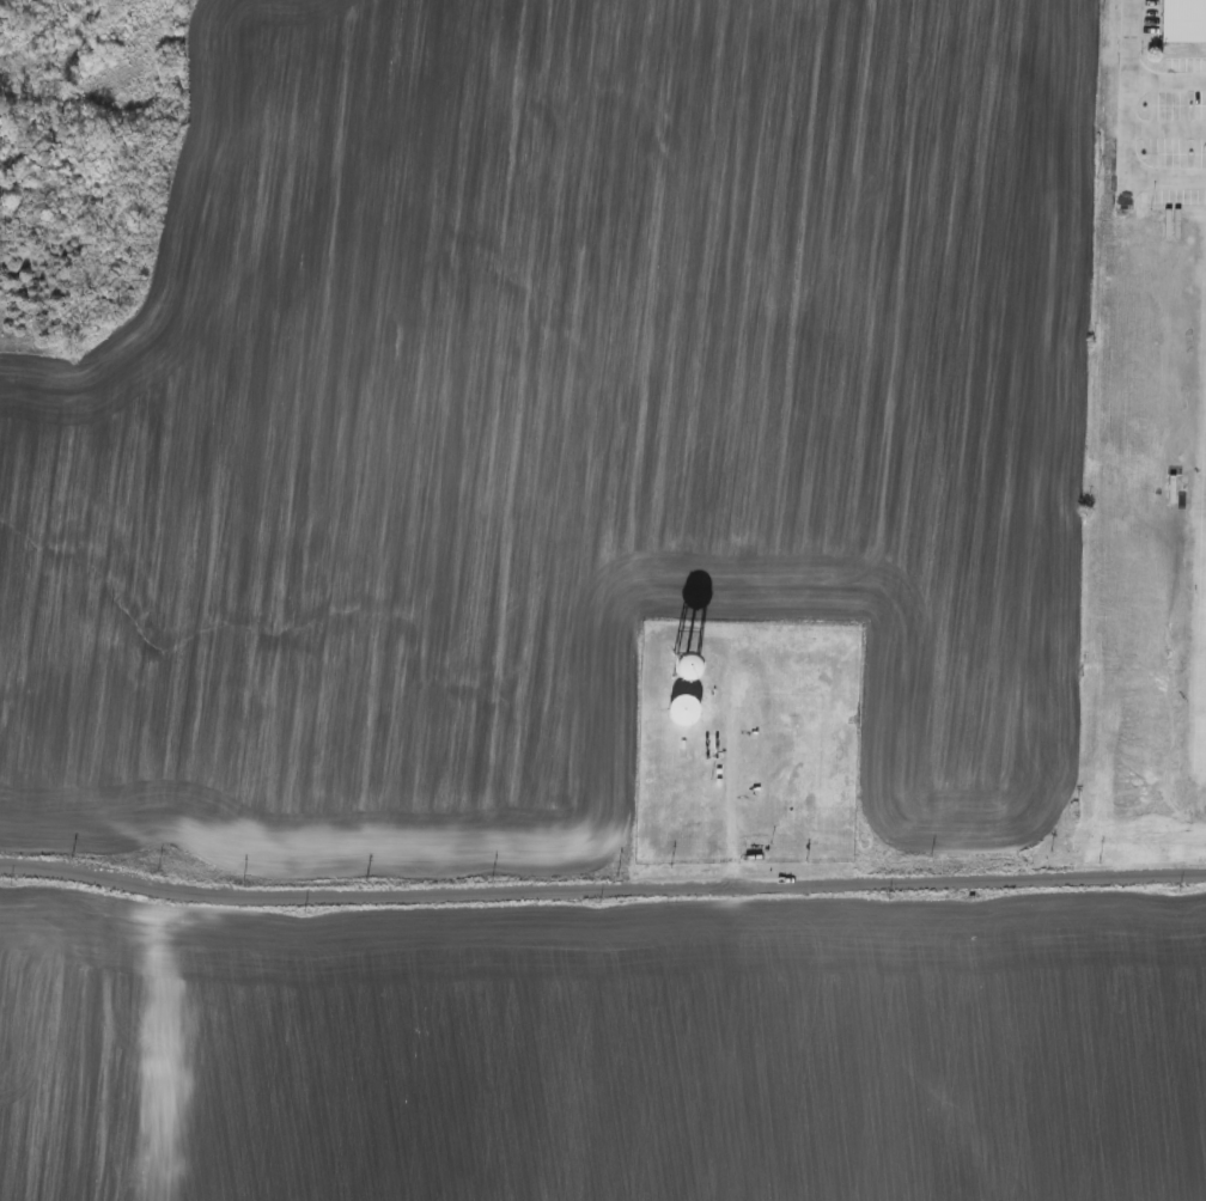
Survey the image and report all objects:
building: (1182, 23)
road: (1165, 85)
road: (1123, 133)
road: (1164, 134)
building: (681, 713)
road: (730, 797)
road: (602, 896)

